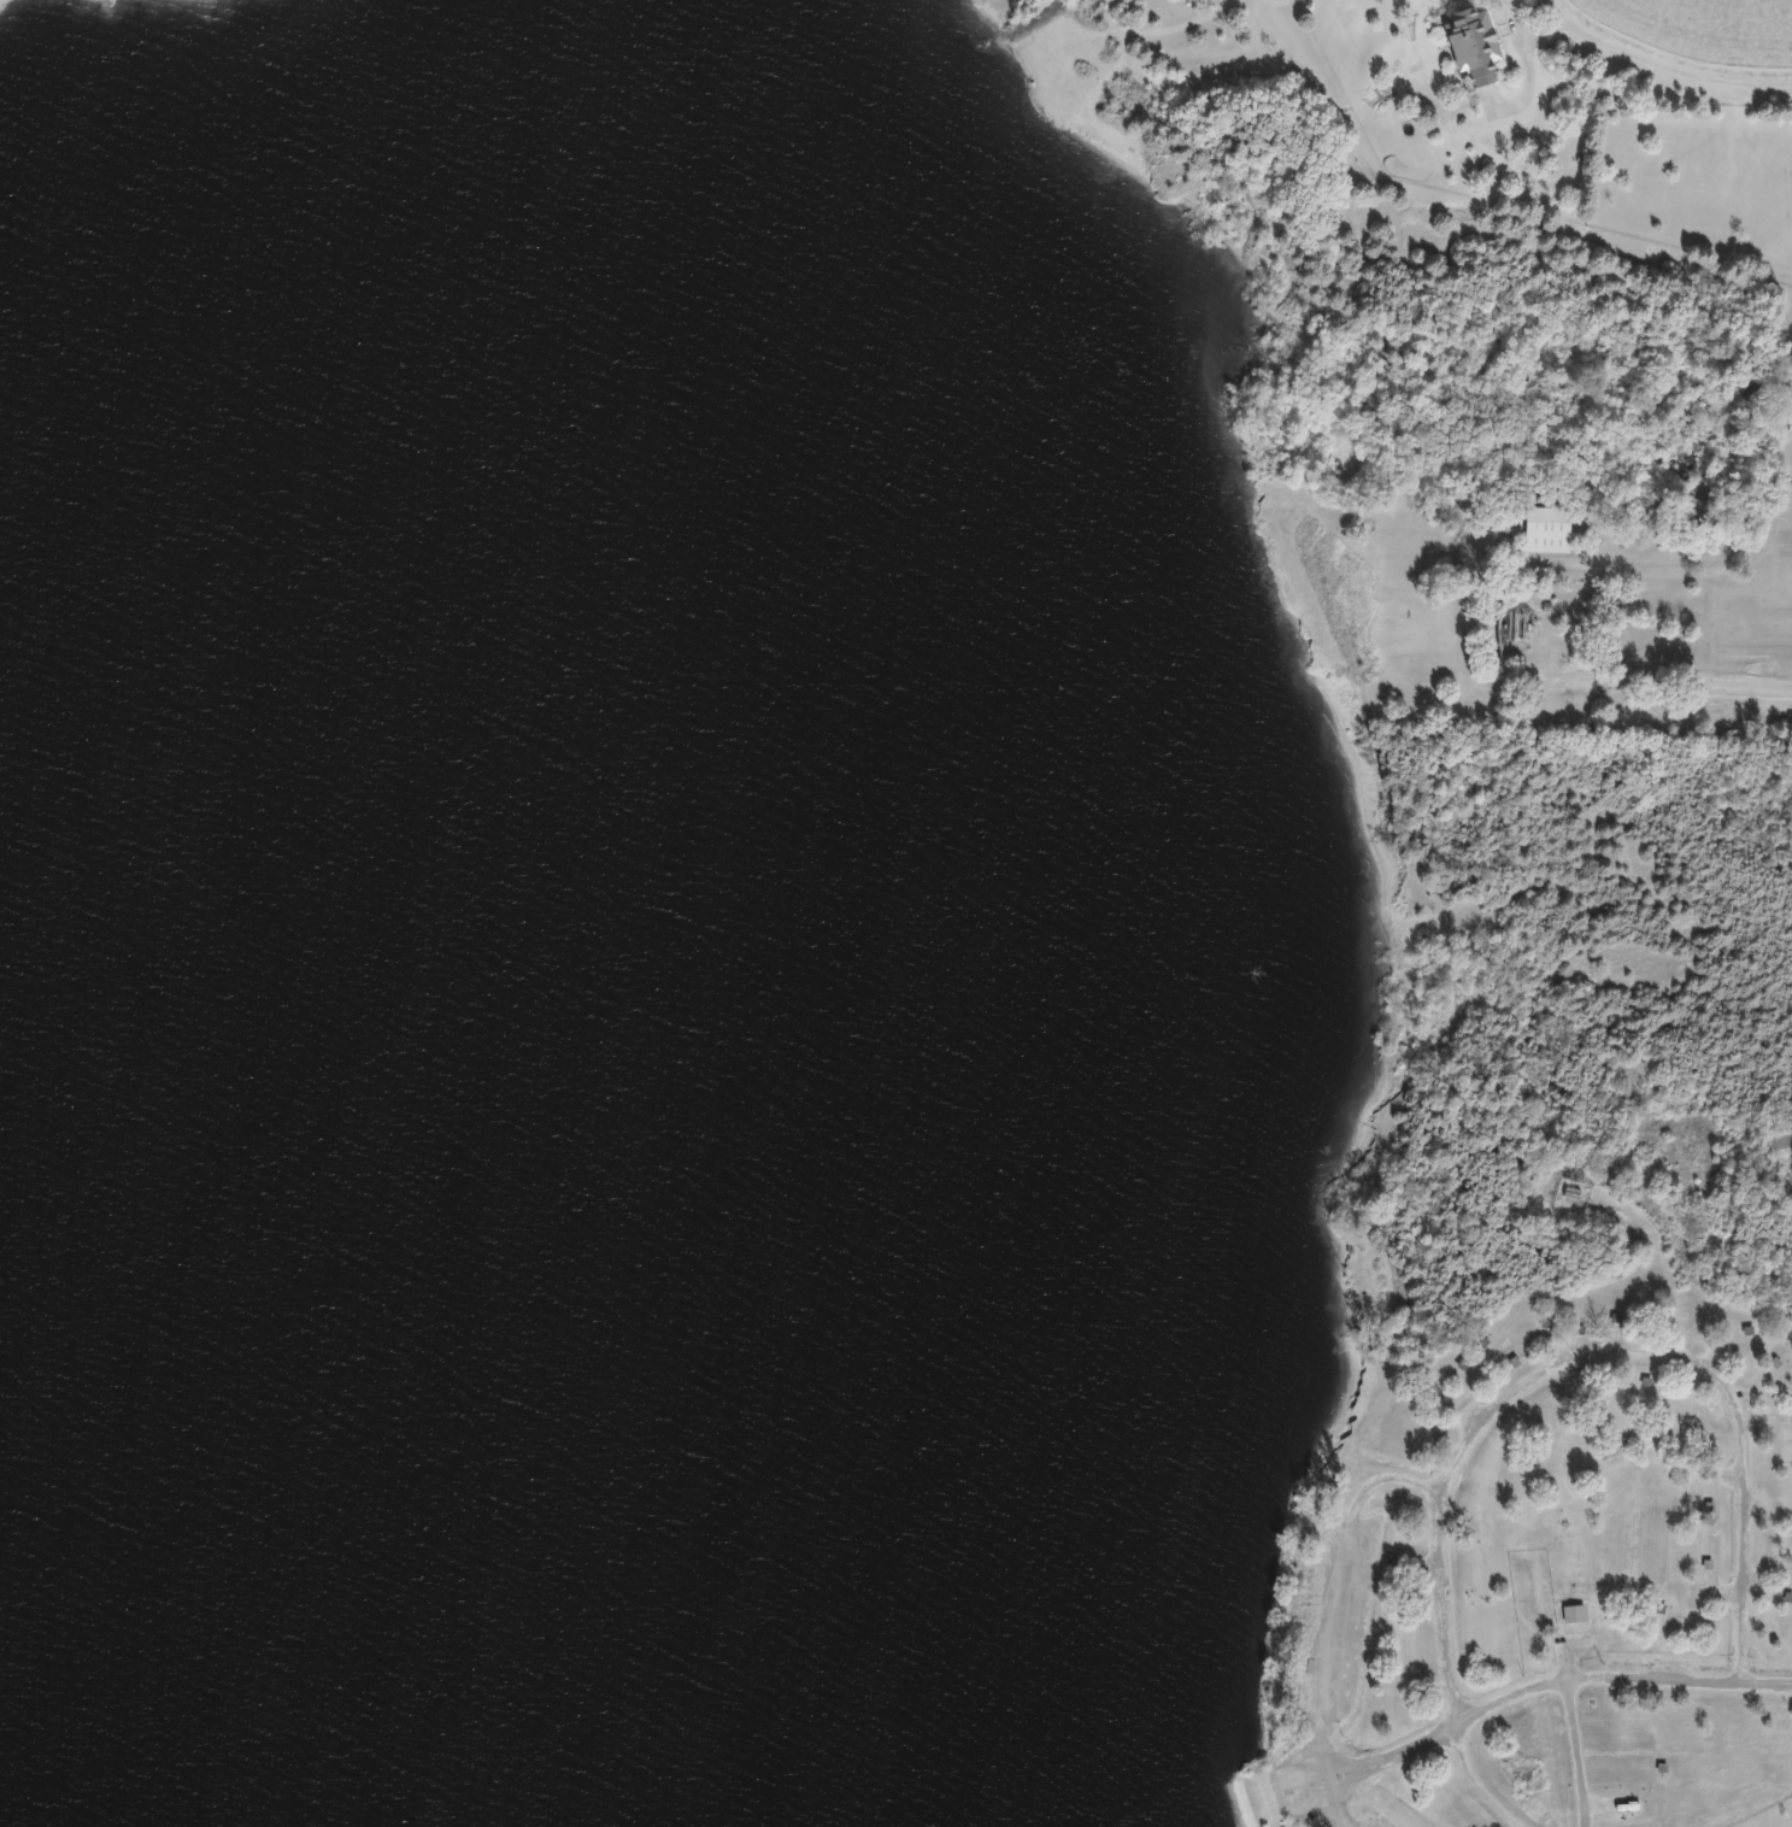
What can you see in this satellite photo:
building: (1467, 43)
road: (1658, 66)
building: (1790, 407)
building: (1545, 530)
road: (1618, 701)
building: (1571, 1194)
park: (1571, 1298)
building: (1616, 1318)
building: (1544, 1322)
building: (1745, 1330)
building: (1480, 1341)
building: (1772, 1362)
building: (1461, 1363)
building: (1512, 1363)
road: (1539, 1370)
building: (1644, 1382)
building: (1430, 1390)
building: (1791, 1403)
building: (1657, 1414)
building: (1434, 1441)
building: (1620, 1441)
building: (1704, 1450)
building: (1705, 1508)
building: (1791, 1537)
building: (1393, 1559)
building: (1704, 1564)
road: (1341, 1585)
building: (1786, 1598)
building: (1657, 1605)
building: (1570, 1614)
parking lot: (1333, 1619)
road: (1546, 1685)
road: (1577, 1753)
road: (1321, 1781)
road: (1273, 1796)
road: (1333, 1814)
parking lot: (1373, 1822)

